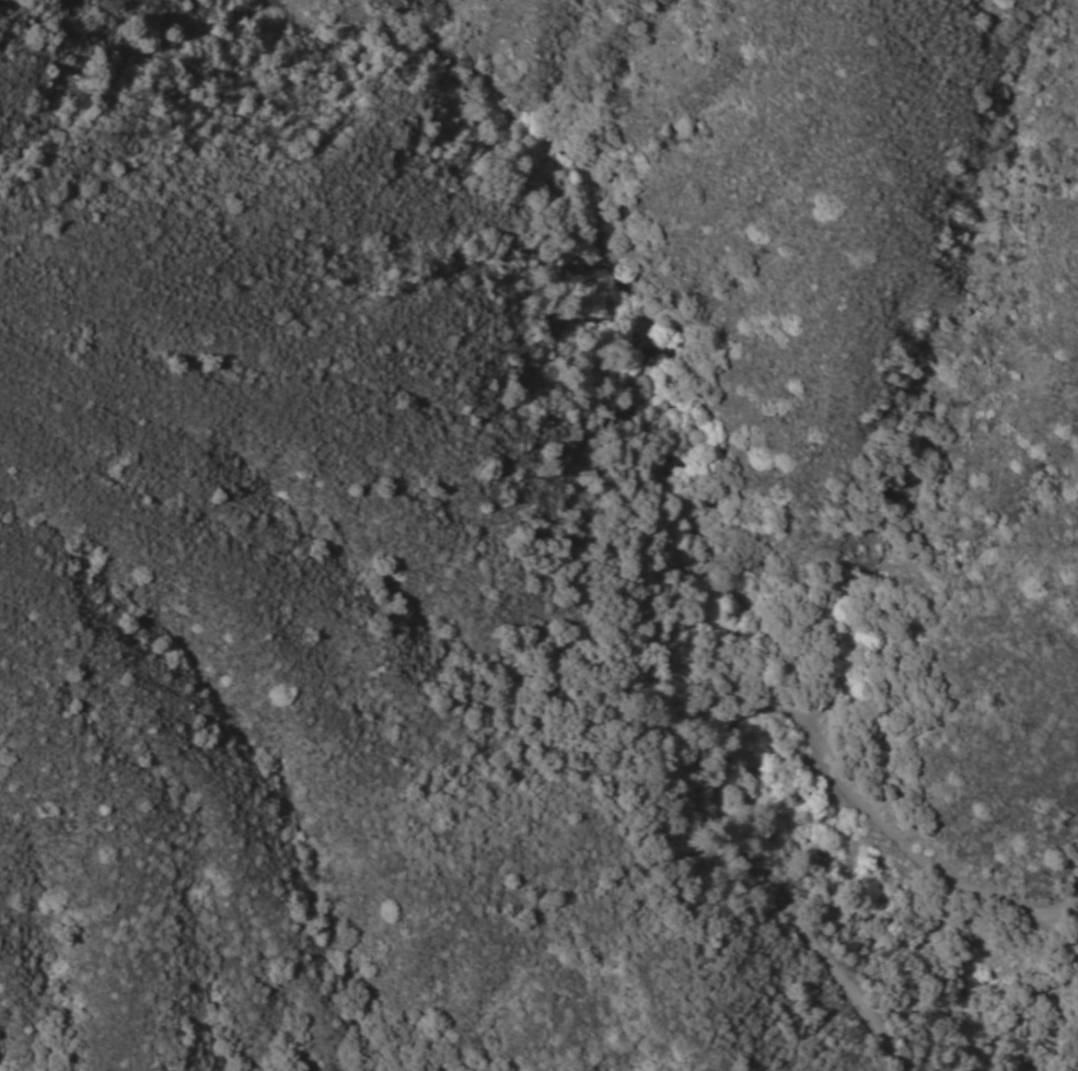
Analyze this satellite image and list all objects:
road: (747, 721)

